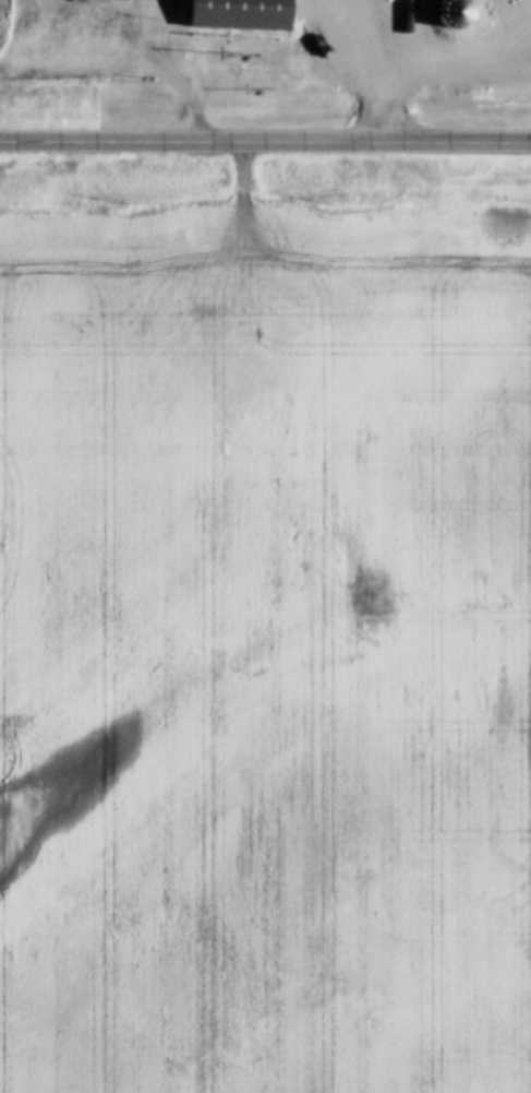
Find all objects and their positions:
building: (460, 13)
building: (244, 14)
road: (371, 48)
road: (420, 54)
road: (394, 120)
road: (265, 140)

